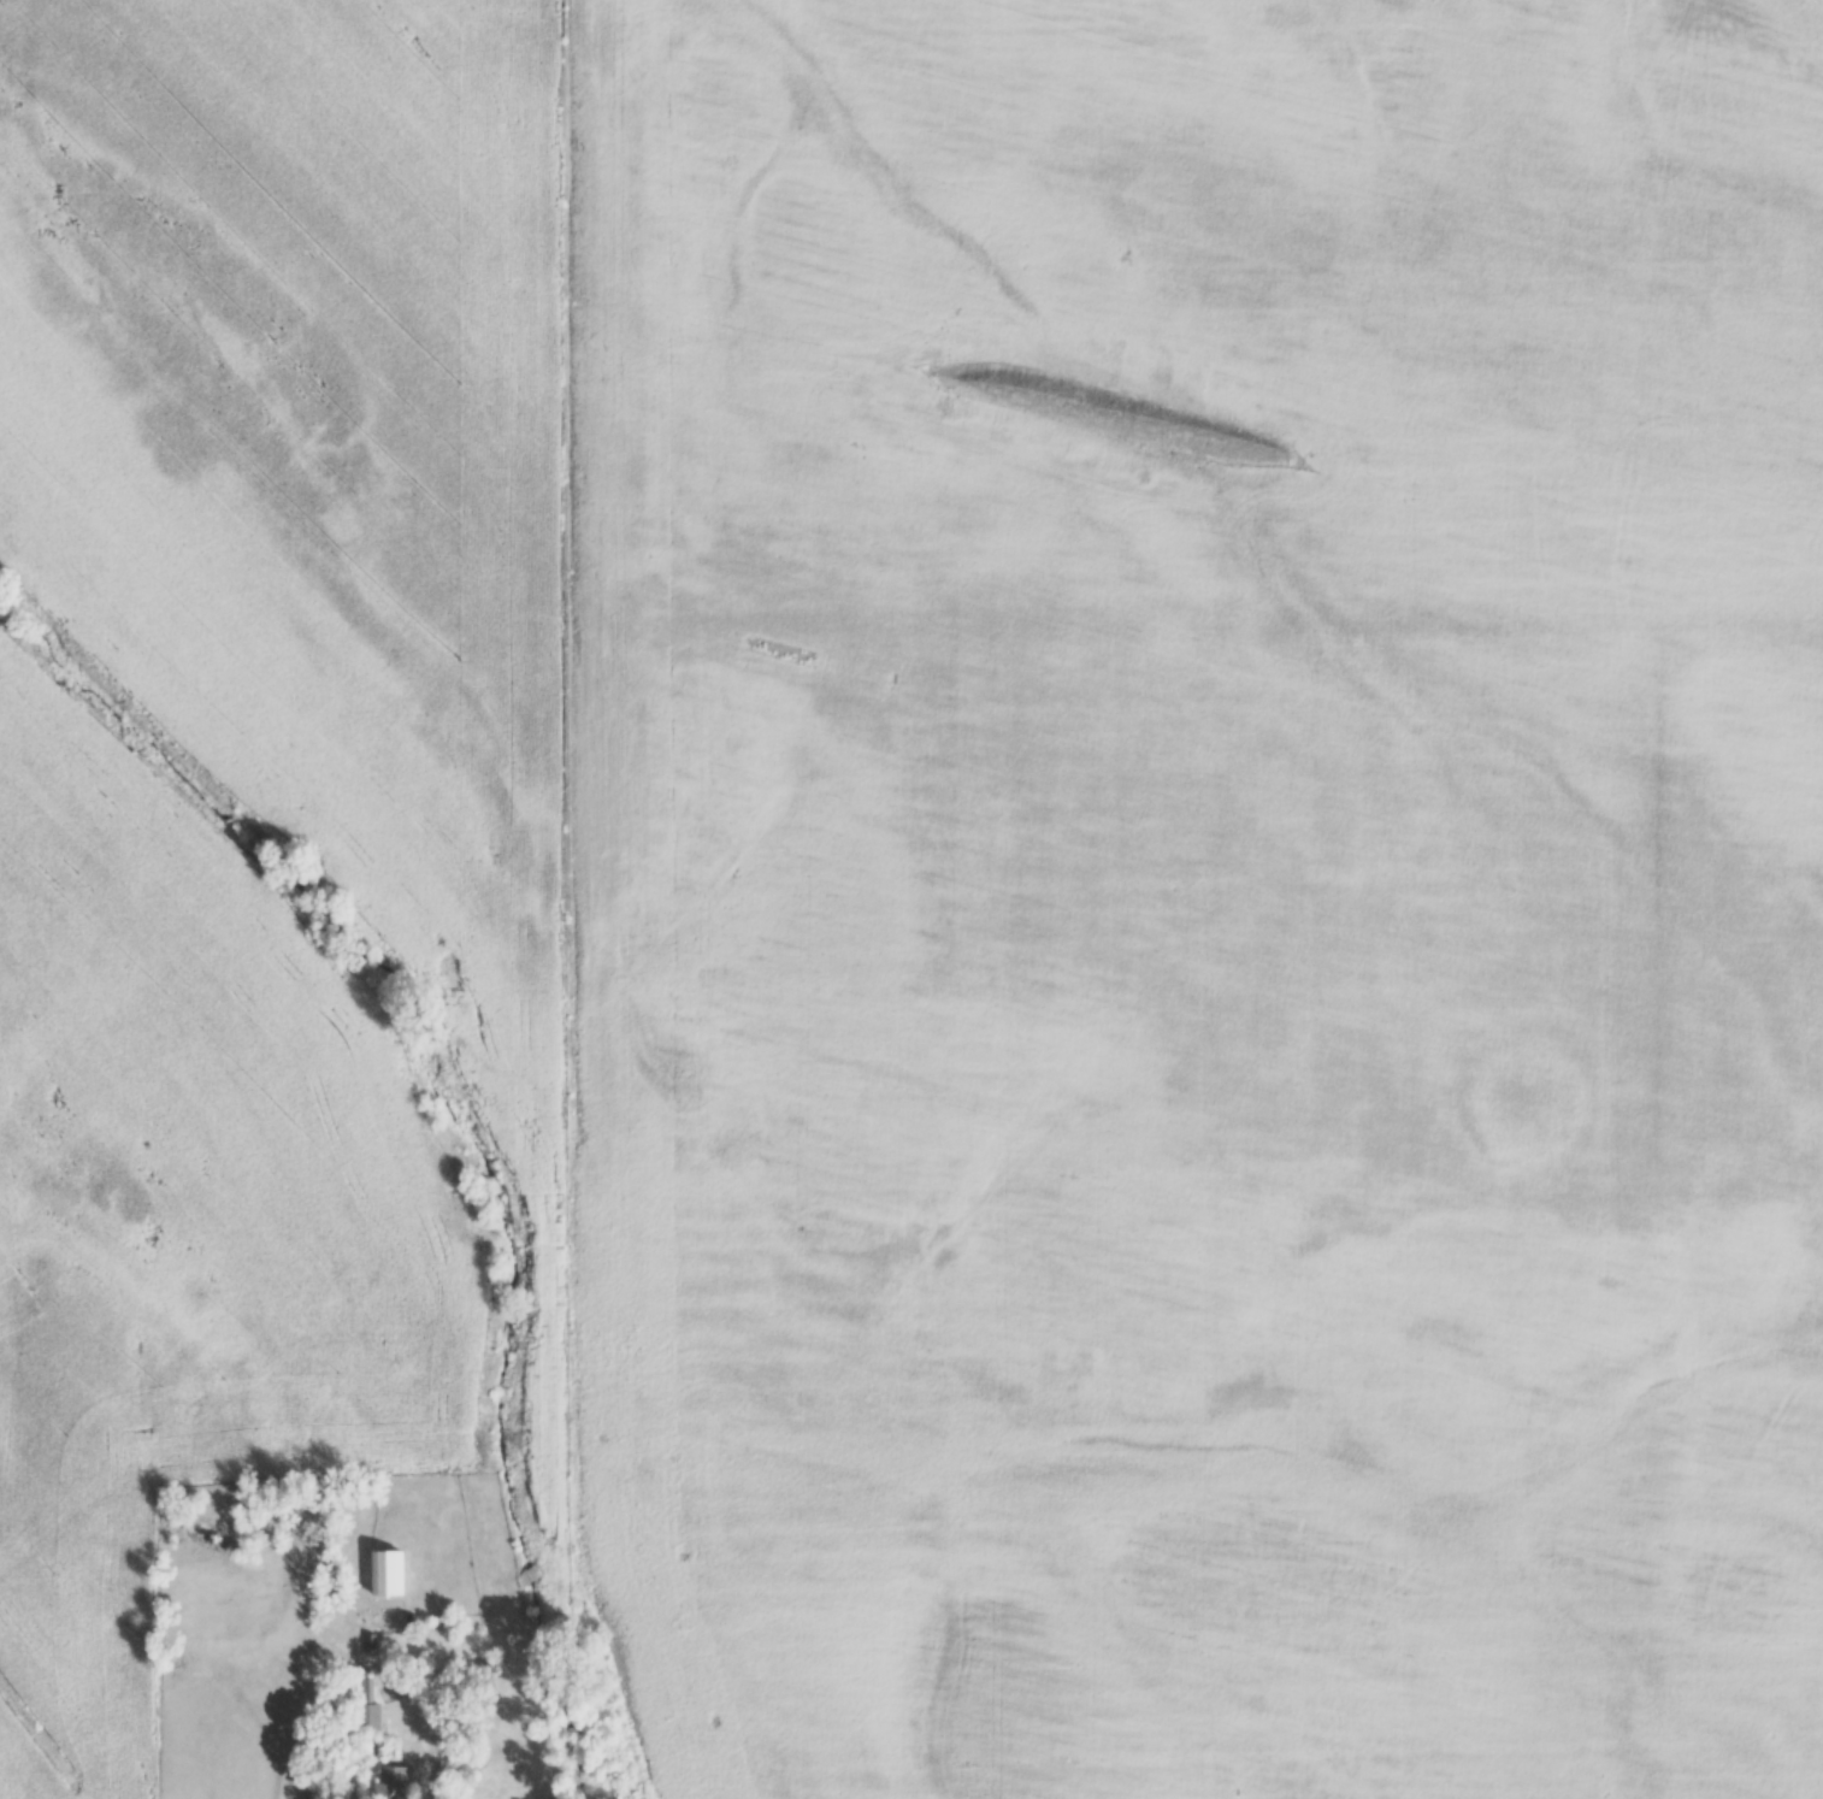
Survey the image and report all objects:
building: (385, 1568)
building: (526, 1570)
building: (364, 1697)
road: (430, 1745)
building: (388, 1780)

